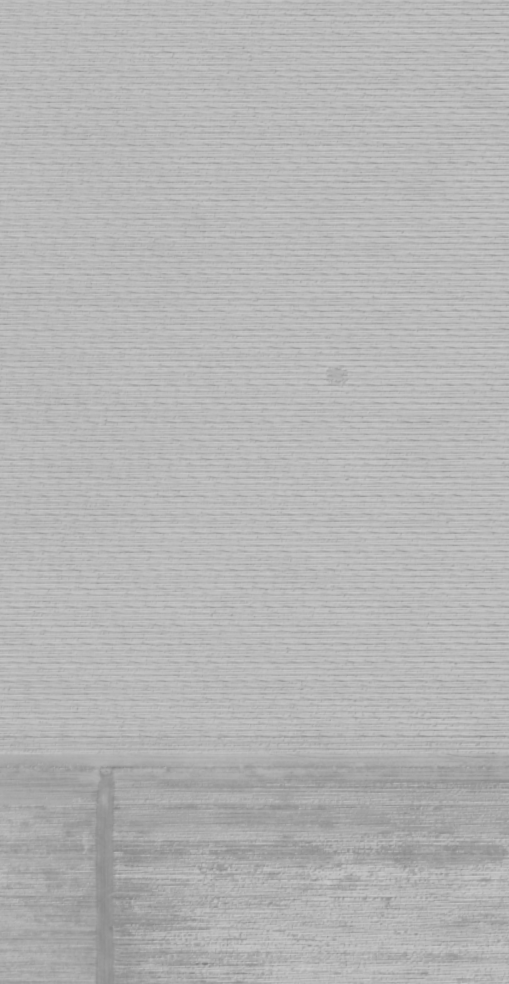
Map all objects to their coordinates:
road: (106, 832)

